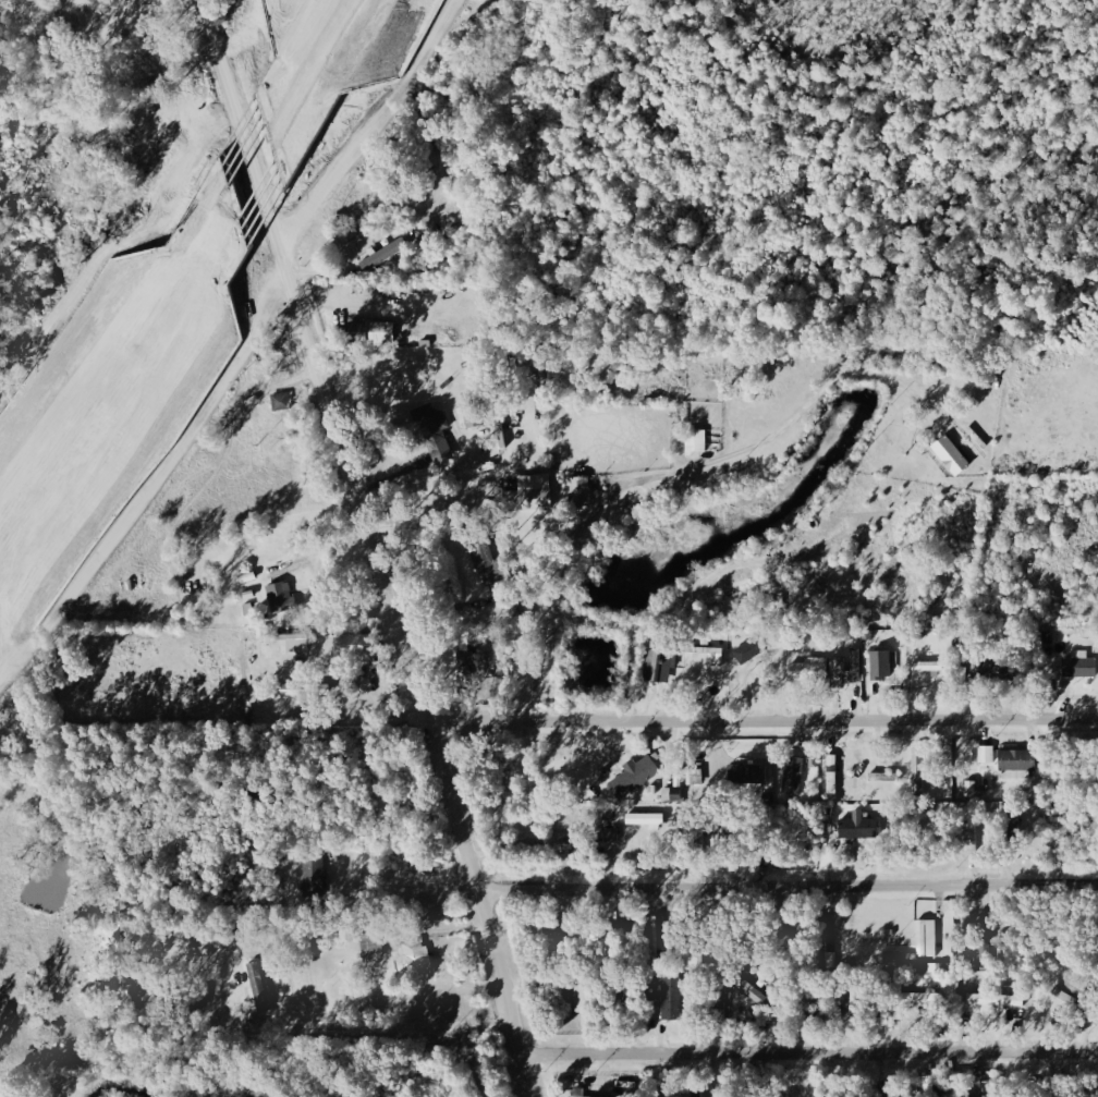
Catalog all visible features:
road: (303, 52)
road: (340, 84)
road: (254, 138)
road: (274, 197)
building: (388, 253)
building: (377, 331)
road: (122, 350)
building: (210, 368)
road: (134, 416)
building: (469, 417)
building: (437, 425)
building: (949, 455)
road: (399, 472)
road: (660, 472)
building: (583, 491)
building: (533, 499)
road: (371, 546)
building: (492, 560)
building: (284, 597)
road: (452, 612)
building: (302, 643)
building: (706, 654)
building: (659, 663)
building: (1078, 663)
building: (926, 667)
building: (809, 668)
building: (846, 668)
building: (886, 673)
building: (296, 692)
road: (762, 722)
building: (985, 753)
building: (1014, 763)
building: (632, 775)
building: (792, 775)
building: (883, 776)
road: (565, 778)
building: (645, 820)
building: (852, 827)
building: (606, 834)
building: (972, 837)
building: (313, 874)
road: (790, 890)
building: (925, 938)
building: (370, 943)
building: (412, 955)
building: (891, 955)
building: (256, 986)
building: (749, 989)
building: (671, 996)
building: (913, 998)
building: (996, 999)
road: (393, 1027)
road: (809, 1052)
building: (576, 1092)

